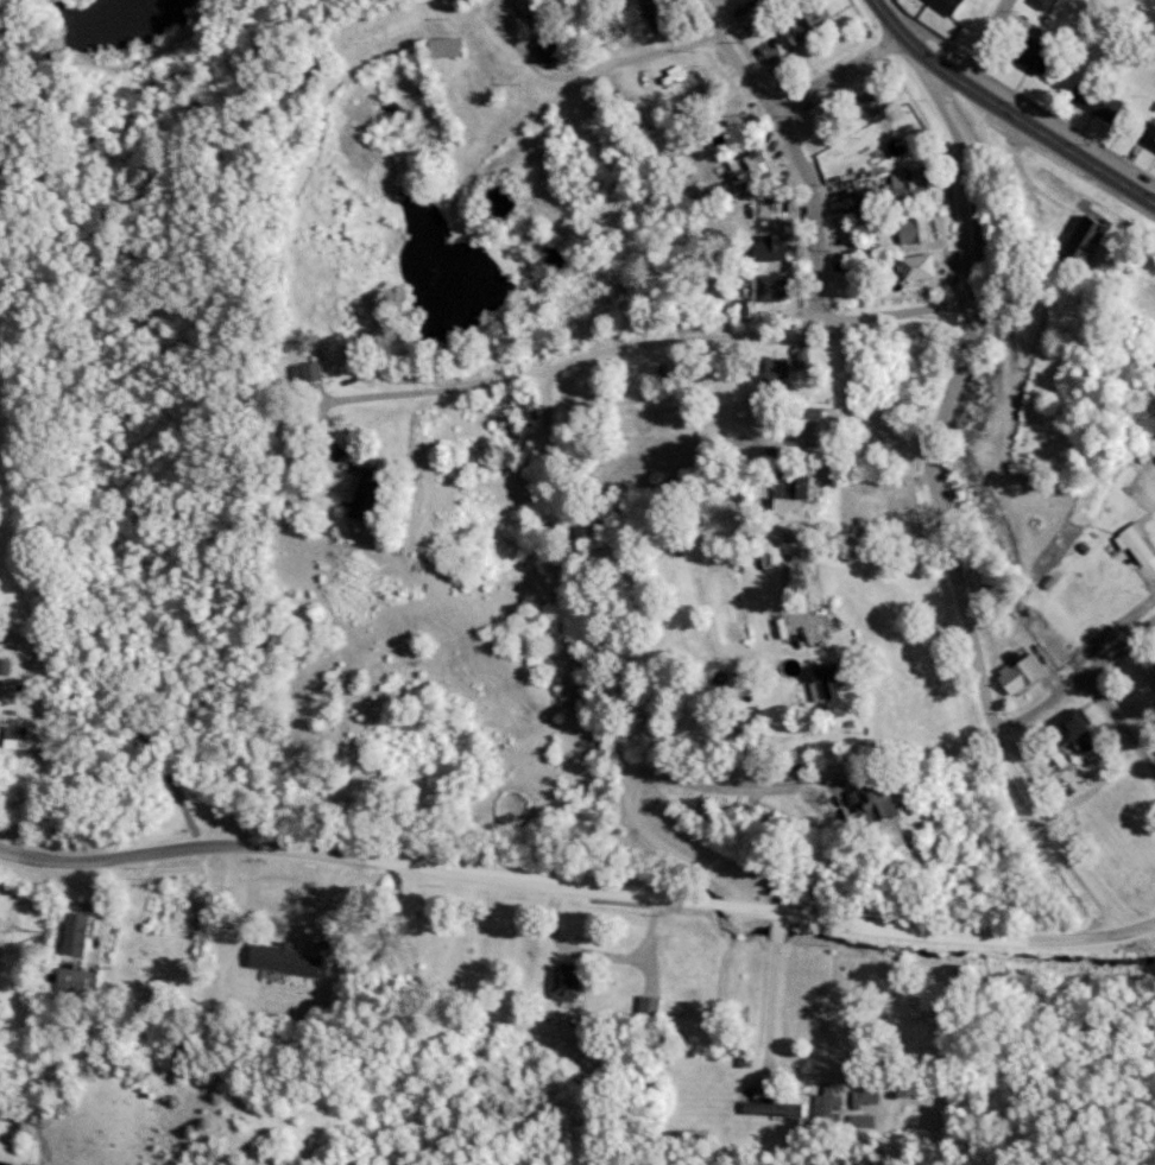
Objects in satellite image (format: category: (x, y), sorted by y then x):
building: (442, 1)
building: (1036, 4)
building: (522, 6)
building: (940, 6)
building: (649, 12)
building: (804, 26)
road: (984, 36)
building: (438, 49)
building: (1028, 58)
road: (624, 59)
road: (844, 68)
building: (683, 77)
building: (1092, 100)
building: (869, 101)
road: (1012, 108)
building: (1145, 135)
building: (891, 139)
road: (807, 145)
building: (745, 166)
building: (910, 232)
building: (1074, 241)
building: (763, 248)
building: (913, 268)
building: (764, 289)
road: (654, 346)
building: (799, 360)
building: (1147, 365)
building: (302, 372)
building: (769, 372)
building: (1009, 395)
building: (522, 409)
building: (785, 433)
road: (872, 468)
building: (777, 506)
road: (949, 517)
road: (857, 550)
building: (1135, 551)
road: (586, 575)
building: (2, 669)
building: (1020, 673)
road: (1078, 680)
building: (819, 686)
road: (145, 713)
road: (1122, 717)
building: (1069, 733)
building: (15, 741)
road: (724, 779)
building: (867, 808)
road: (676, 851)
road: (120, 857)
road: (698, 905)
building: (72, 935)
road: (601, 952)
building: (282, 960)
building: (72, 982)
building: (564, 982)
road: (776, 1002)
building: (646, 1008)
road: (901, 1014)
building: (863, 1097)
building: (766, 1108)
building: (825, 1108)
building: (859, 1121)

